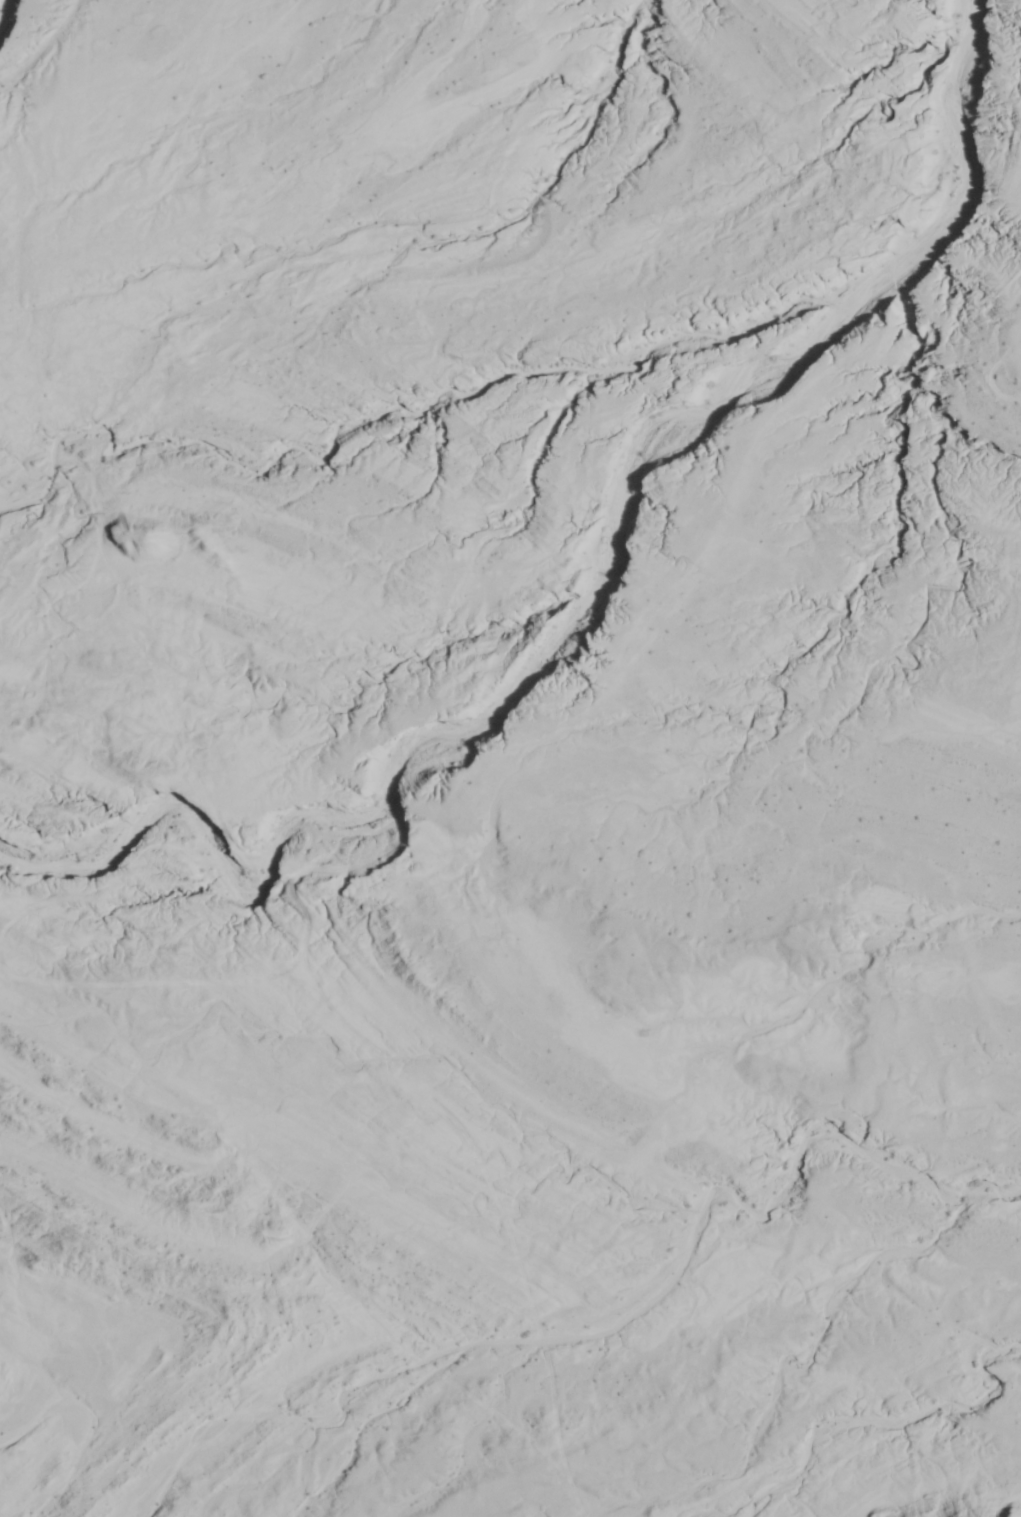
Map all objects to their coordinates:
road: (2, 3)

